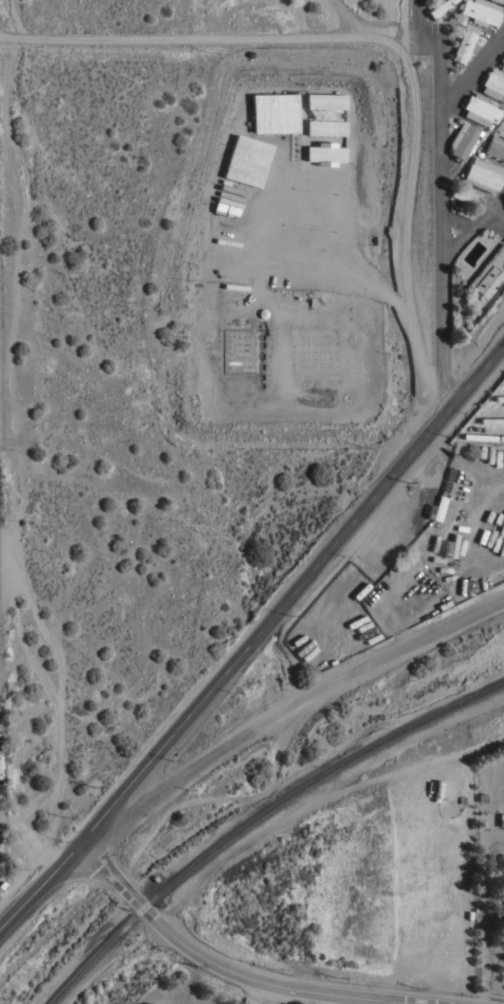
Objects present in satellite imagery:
building: (499, 1)
building: (438, 6)
building: (481, 11)
road: (14, 19)
road: (209, 39)
building: (462, 46)
building: (501, 62)
road: (472, 72)
building: (493, 84)
building: (323, 101)
building: (479, 110)
building: (275, 113)
building: (327, 115)
building: (323, 129)
building: (462, 140)
building: (495, 147)
building: (322, 154)
building: (247, 161)
building: (482, 174)
building: (466, 196)
road: (440, 198)
road: (405, 223)
road: (455, 223)
road: (472, 224)
road: (491, 224)
building: (485, 277)
building: (438, 507)
building: (409, 556)
road: (253, 638)
road: (286, 707)
railway: (258, 817)
building: (501, 819)
road: (249, 972)
road: (255, 990)
road: (405, 1000)

